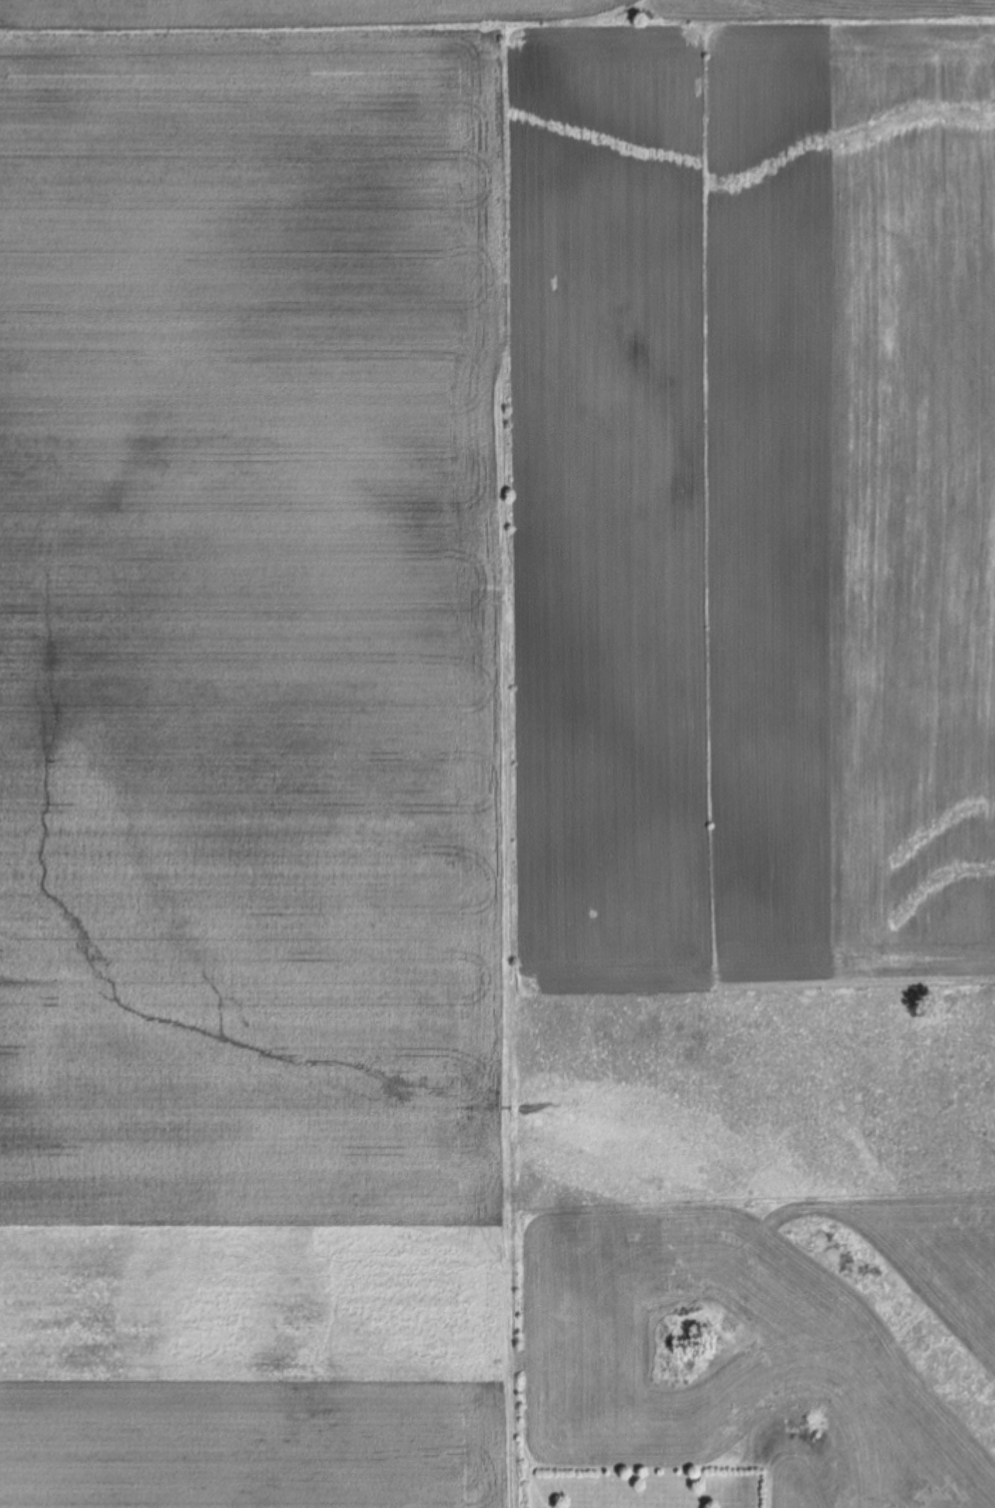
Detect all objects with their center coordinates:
crop: (445, 654)

